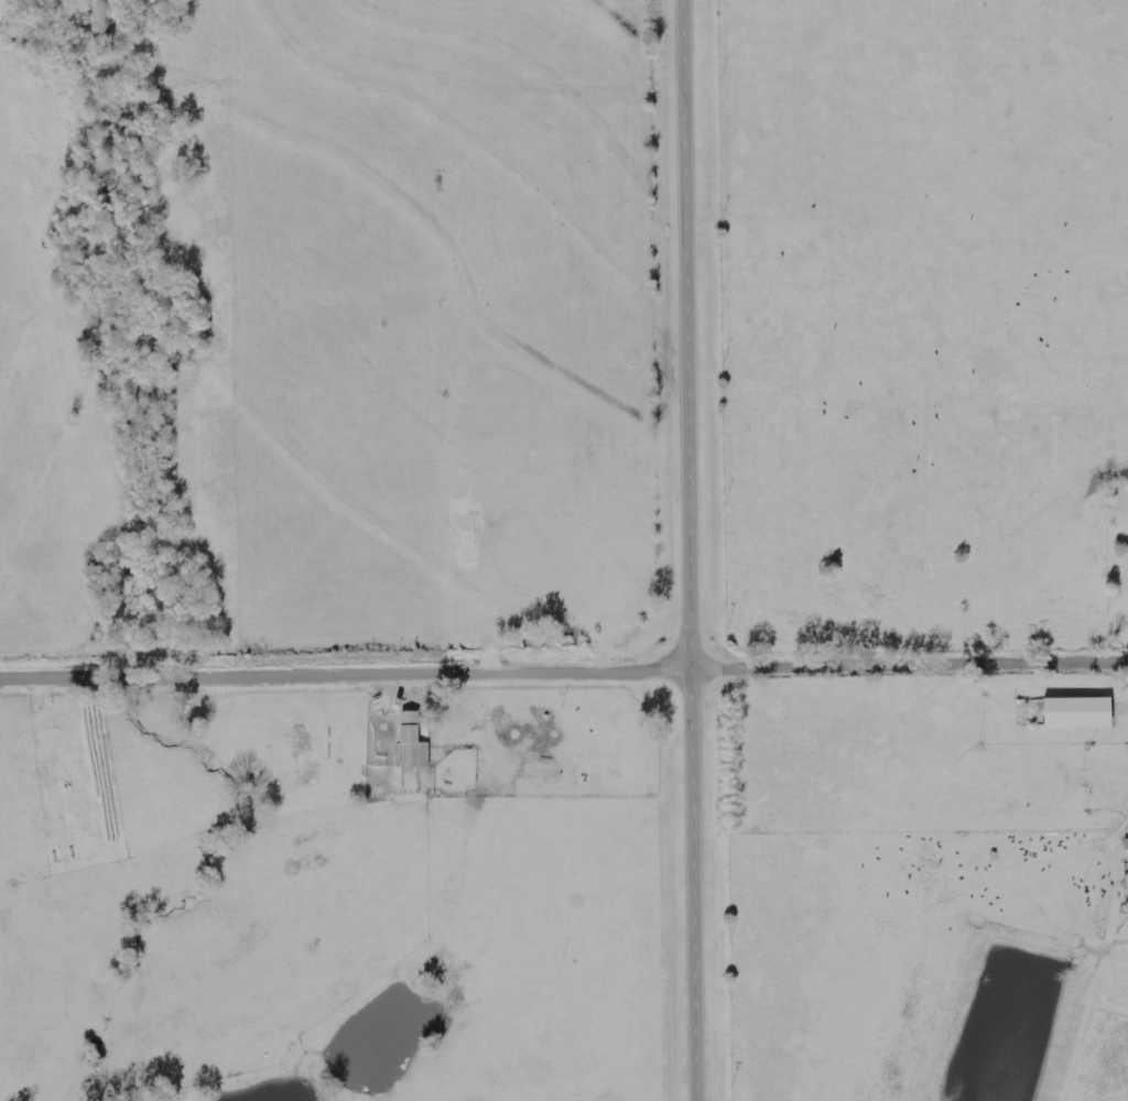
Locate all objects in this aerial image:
road: (686, 550)
road: (564, 675)
building: (1078, 712)
building: (413, 742)
building: (1127, 870)

